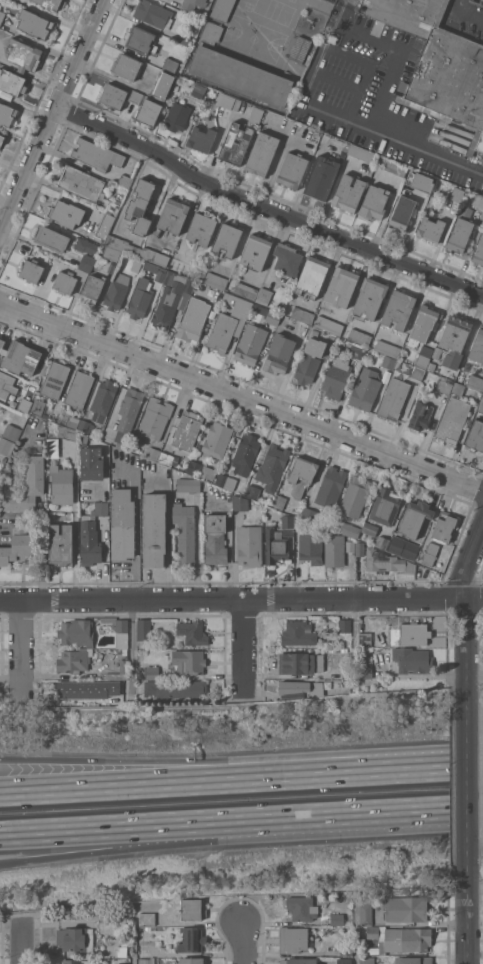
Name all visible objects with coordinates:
building: (53, 3)
building: (192, 4)
building: (222, 9)
road: (466, 12)
building: (152, 13)
road: (347, 13)
parking lot: (468, 14)
building: (2, 16)
building: (34, 24)
building: (191, 30)
building: (329, 38)
building: (184, 39)
building: (140, 40)
building: (300, 49)
building: (23, 54)
building: (439, 63)
building: (170, 64)
building: (127, 66)
building: (237, 70)
building: (12, 82)
building: (162, 85)
building: (197, 90)
building: (113, 96)
building: (135, 96)
building: (224, 100)
building: (236, 104)
building: (149, 111)
building: (7, 115)
building: (177, 115)
building: (256, 115)
road: (372, 117)
road: (54, 119)
building: (1, 138)
building: (201, 138)
building: (236, 143)
building: (262, 153)
building: (361, 153)
building: (96, 154)
building: (396, 167)
building: (292, 170)
building: (322, 177)
building: (125, 181)
building: (81, 183)
building: (423, 183)
building: (348, 193)
building: (457, 194)
building: (478, 200)
building: (374, 202)
building: (140, 205)
building: (112, 208)
road: (266, 209)
building: (402, 212)
building: (65, 213)
building: (173, 215)
building: (104, 226)
building: (201, 228)
building: (430, 228)
building: (460, 231)
building: (52, 238)
building: (226, 239)
building: (85, 245)
building: (123, 245)
building: (255, 251)
building: (479, 252)
building: (111, 253)
building: (155, 257)
building: (287, 260)
building: (87, 263)
building: (136, 265)
building: (182, 267)
building: (32, 270)
building: (155, 270)
building: (312, 276)
building: (69, 280)
building: (216, 280)
building: (341, 286)
building: (201, 287)
building: (92, 289)
building: (245, 290)
building: (116, 291)
building: (264, 296)
building: (140, 298)
building: (172, 298)
building: (370, 298)
building: (399, 309)
building: (268, 314)
building: (302, 315)
building: (193, 320)
building: (229, 323)
building: (329, 325)
building: (423, 325)
building: (315, 333)
building: (359, 337)
building: (455, 339)
building: (250, 344)
building: (477, 346)
building: (387, 348)
building: (357, 351)
building: (436, 352)
building: (279, 354)
building: (19, 357)
building: (424, 357)
building: (312, 359)
building: (388, 362)
building: (431, 366)
building: (415, 371)
building: (336, 377)
building: (36, 379)
building: (55, 379)
building: (475, 382)
building: (444, 384)
building: (7, 385)
building: (458, 388)
building: (79, 389)
building: (365, 389)
road: (241, 398)
building: (394, 398)
building: (103, 400)
building: (24, 405)
building: (481, 406)
building: (38, 407)
building: (129, 409)
building: (420, 415)
building: (155, 418)
building: (453, 420)
building: (72, 421)
building: (86, 426)
building: (187, 430)
building: (11, 432)
building: (67, 432)
building: (476, 436)
building: (217, 440)
building: (119, 444)
building: (6, 445)
building: (52, 447)
building: (152, 453)
building: (245, 453)
building: (168, 459)
building: (272, 467)
building: (93, 469)
building: (201, 470)
building: (302, 475)
building: (226, 481)
building: (61, 484)
building: (188, 485)
building: (28, 486)
building: (330, 486)
building: (250, 492)
building: (354, 497)
building: (279, 501)
building: (240, 503)
building: (385, 506)
building: (309, 513)
building: (414, 518)
building: (288, 521)
building: (296, 521)
building: (122, 524)
building: (444, 526)
road: (136, 528)
building: (370, 528)
building: (154, 529)
building: (349, 530)
building: (185, 533)
building: (91, 535)
building: (215, 538)
building: (381, 542)
building: (61, 545)
building: (249, 545)
building: (275, 545)
building: (349, 545)
building: (18, 547)
building: (403, 547)
building: (309, 549)
building: (359, 549)
building: (335, 550)
building: (430, 553)
building: (388, 563)
road: (241, 602)
road: (464, 606)
building: (121, 625)
building: (344, 625)
building: (143, 629)
building: (76, 631)
building: (192, 632)
building: (298, 633)
building: (413, 633)
building: (365, 638)
building: (122, 640)
road: (22, 649)
road: (247, 649)
building: (341, 649)
building: (124, 651)
building: (74, 660)
building: (368, 660)
building: (412, 660)
building: (189, 661)
building: (300, 663)
building: (119, 671)
building: (152, 672)
building: (365, 672)
building: (314, 683)
building: (334, 685)
building: (293, 686)
building: (176, 688)
building: (88, 689)
road: (196, 759)
road: (438, 767)
road: (196, 781)
road: (468, 787)
road: (423, 815)
road: (182, 830)
road: (182, 841)
building: (405, 907)
building: (302, 908)
building: (193, 909)
building: (366, 914)
building: (168, 918)
building: (337, 918)
building: (147, 919)
road: (468, 923)
building: (373, 932)
building: (123, 934)
building: (76, 939)
building: (293, 939)
building: (408, 939)
building: (192, 940)
road: (243, 941)
road: (23, 943)
building: (346, 949)
building: (366, 960)
building: (413, 960)
building: (75, 961)
building: (146, 961)
building: (192, 961)
building: (299, 961)
building: (342, 961)
building: (123, 963)

